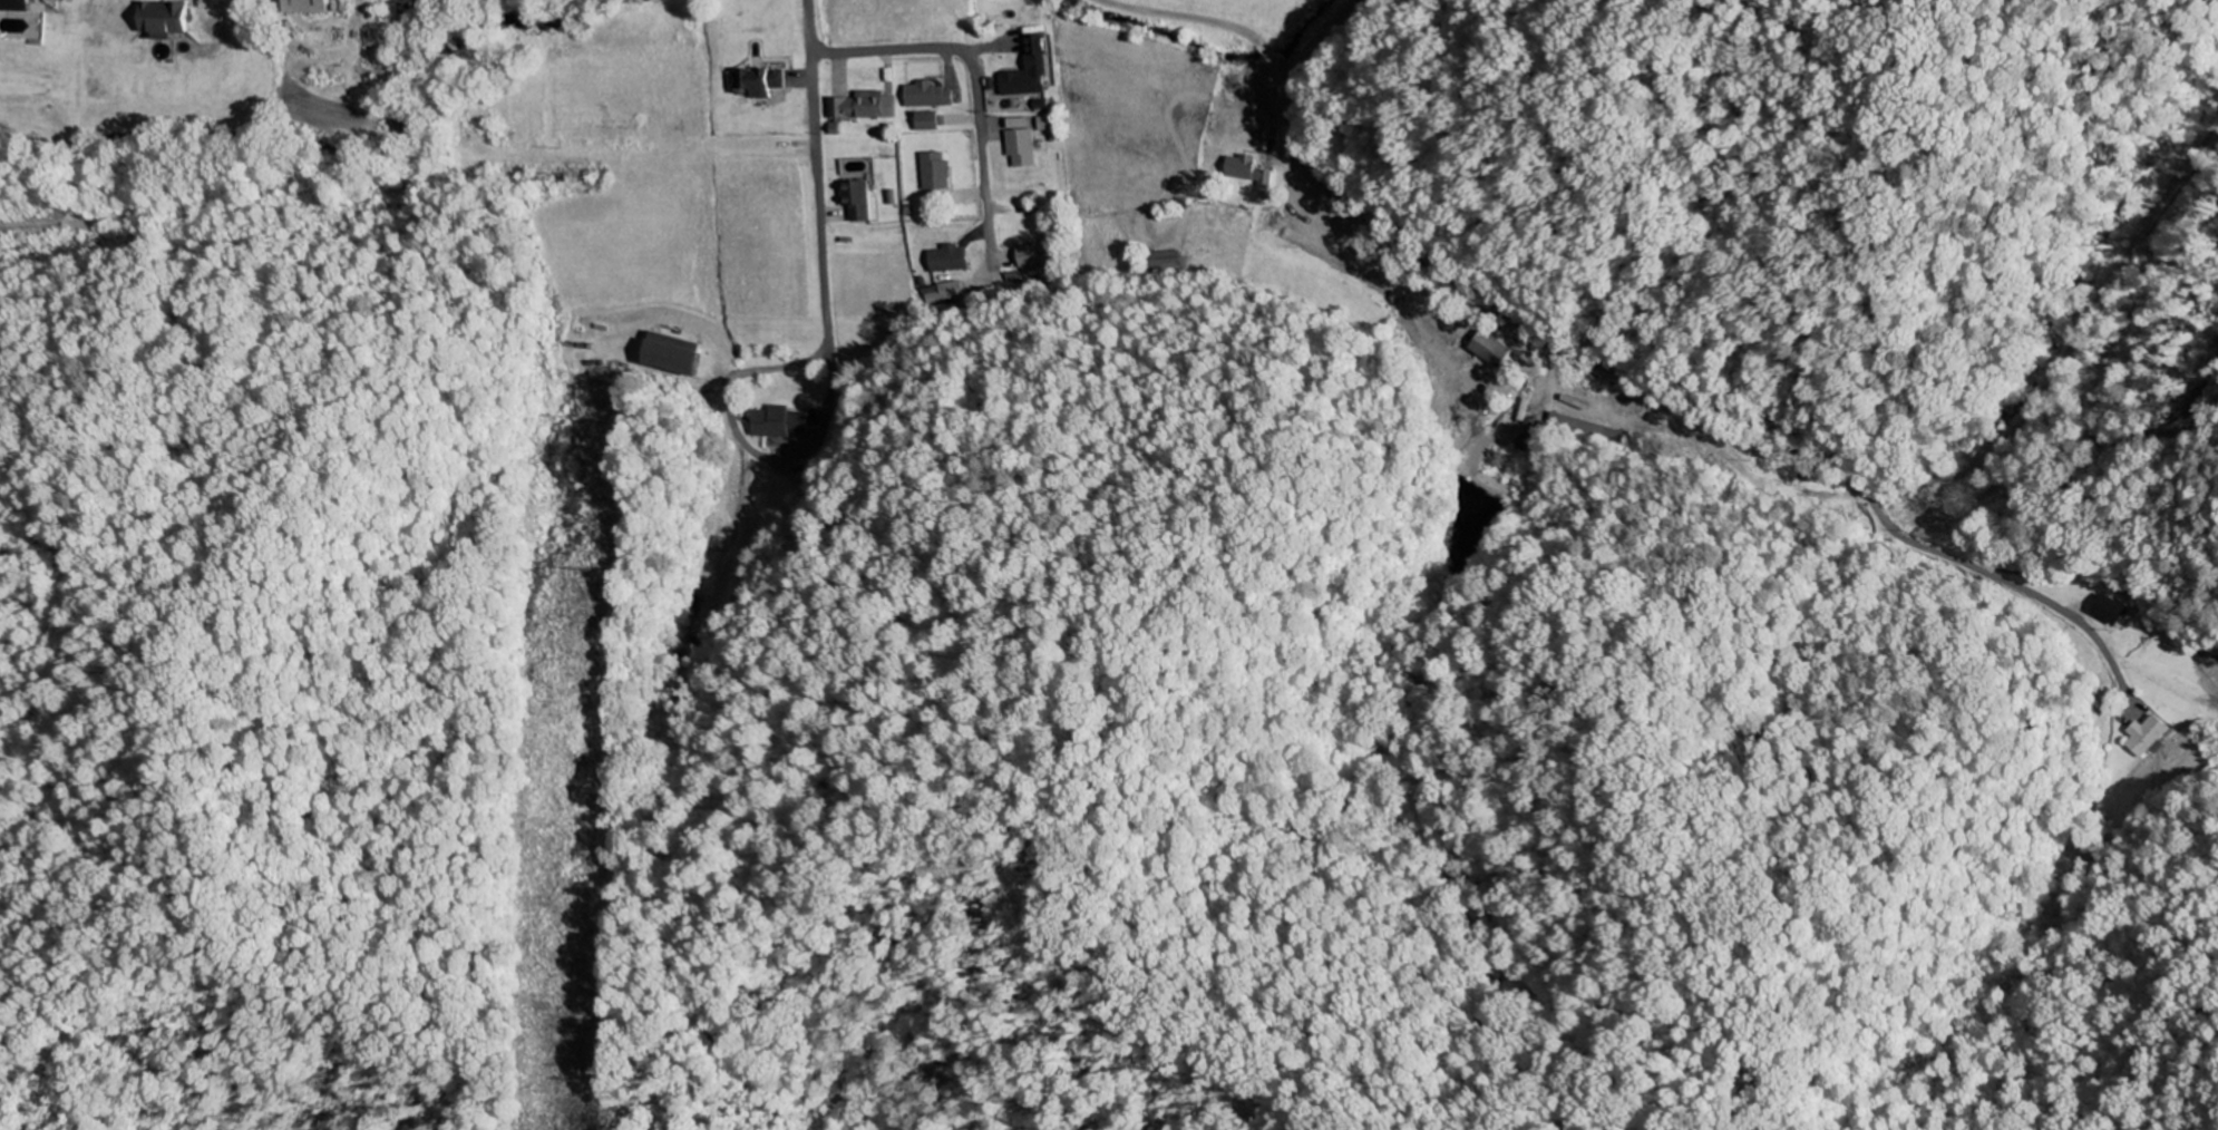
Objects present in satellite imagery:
building: (17, 6)
building: (311, 7)
building: (169, 19)
building: (1030, 69)
road: (967, 74)
building: (759, 81)
building: (928, 95)
building: (865, 106)
building: (927, 120)
building: (1050, 127)
building: (1020, 140)
building: (934, 171)
building: (1252, 174)
road: (817, 175)
building: (857, 198)
building: (1031, 256)
building: (949, 259)
building: (943, 290)
road: (1472, 299)
building: (1488, 349)
building: (675, 355)
building: (781, 422)
building: (2112, 610)
building: (2147, 736)
power tower: (568, 1080)

